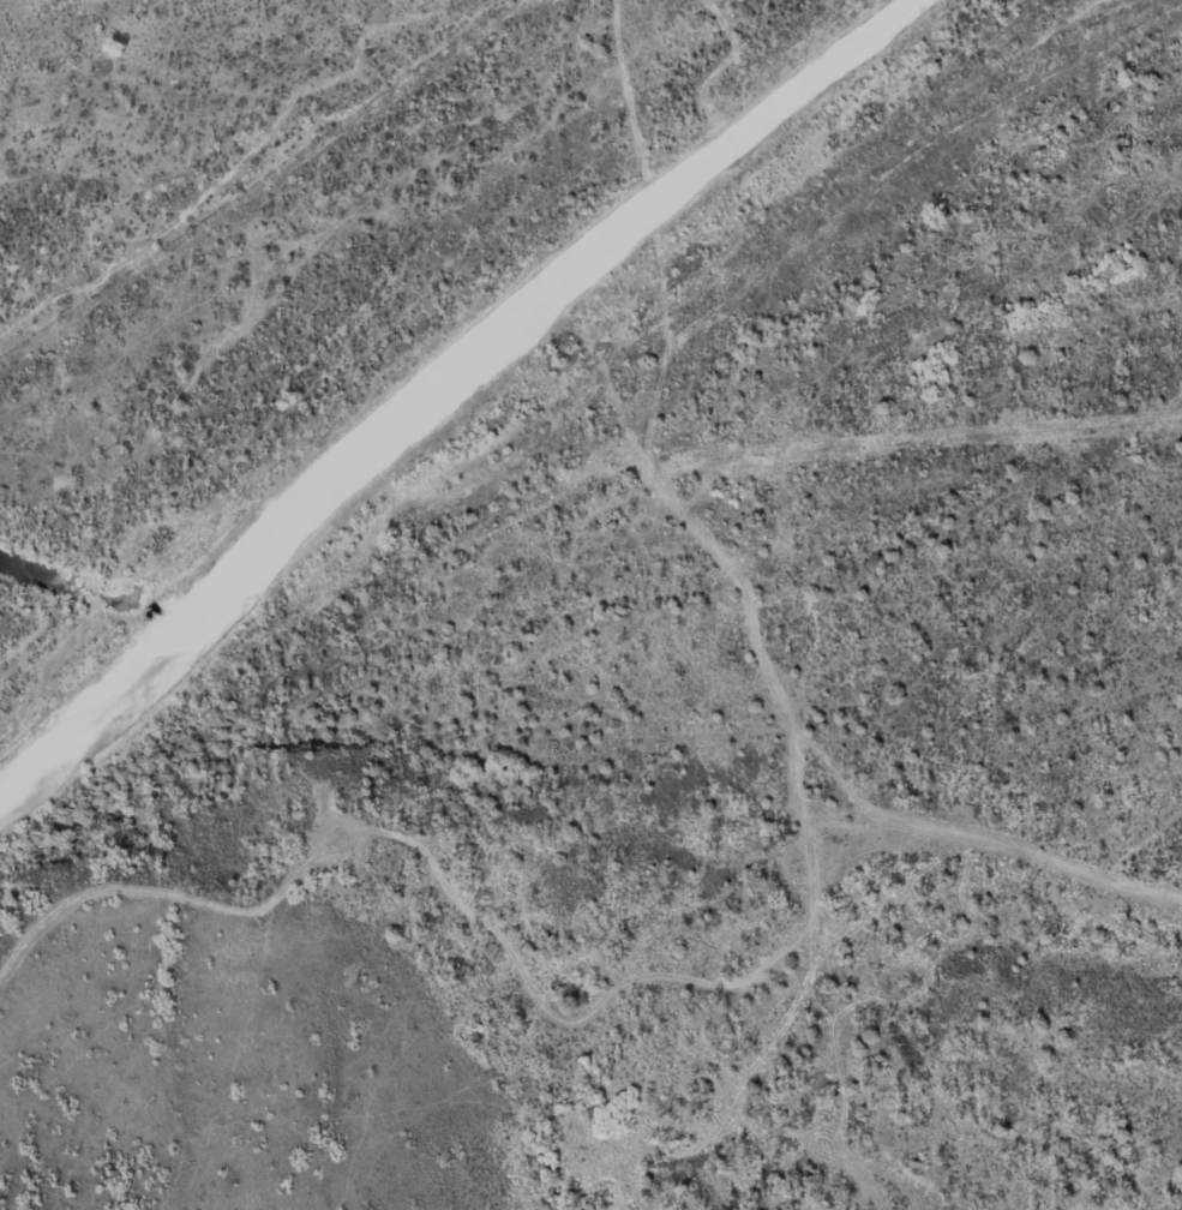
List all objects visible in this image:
road: (1002, 855)
road: (827, 895)

